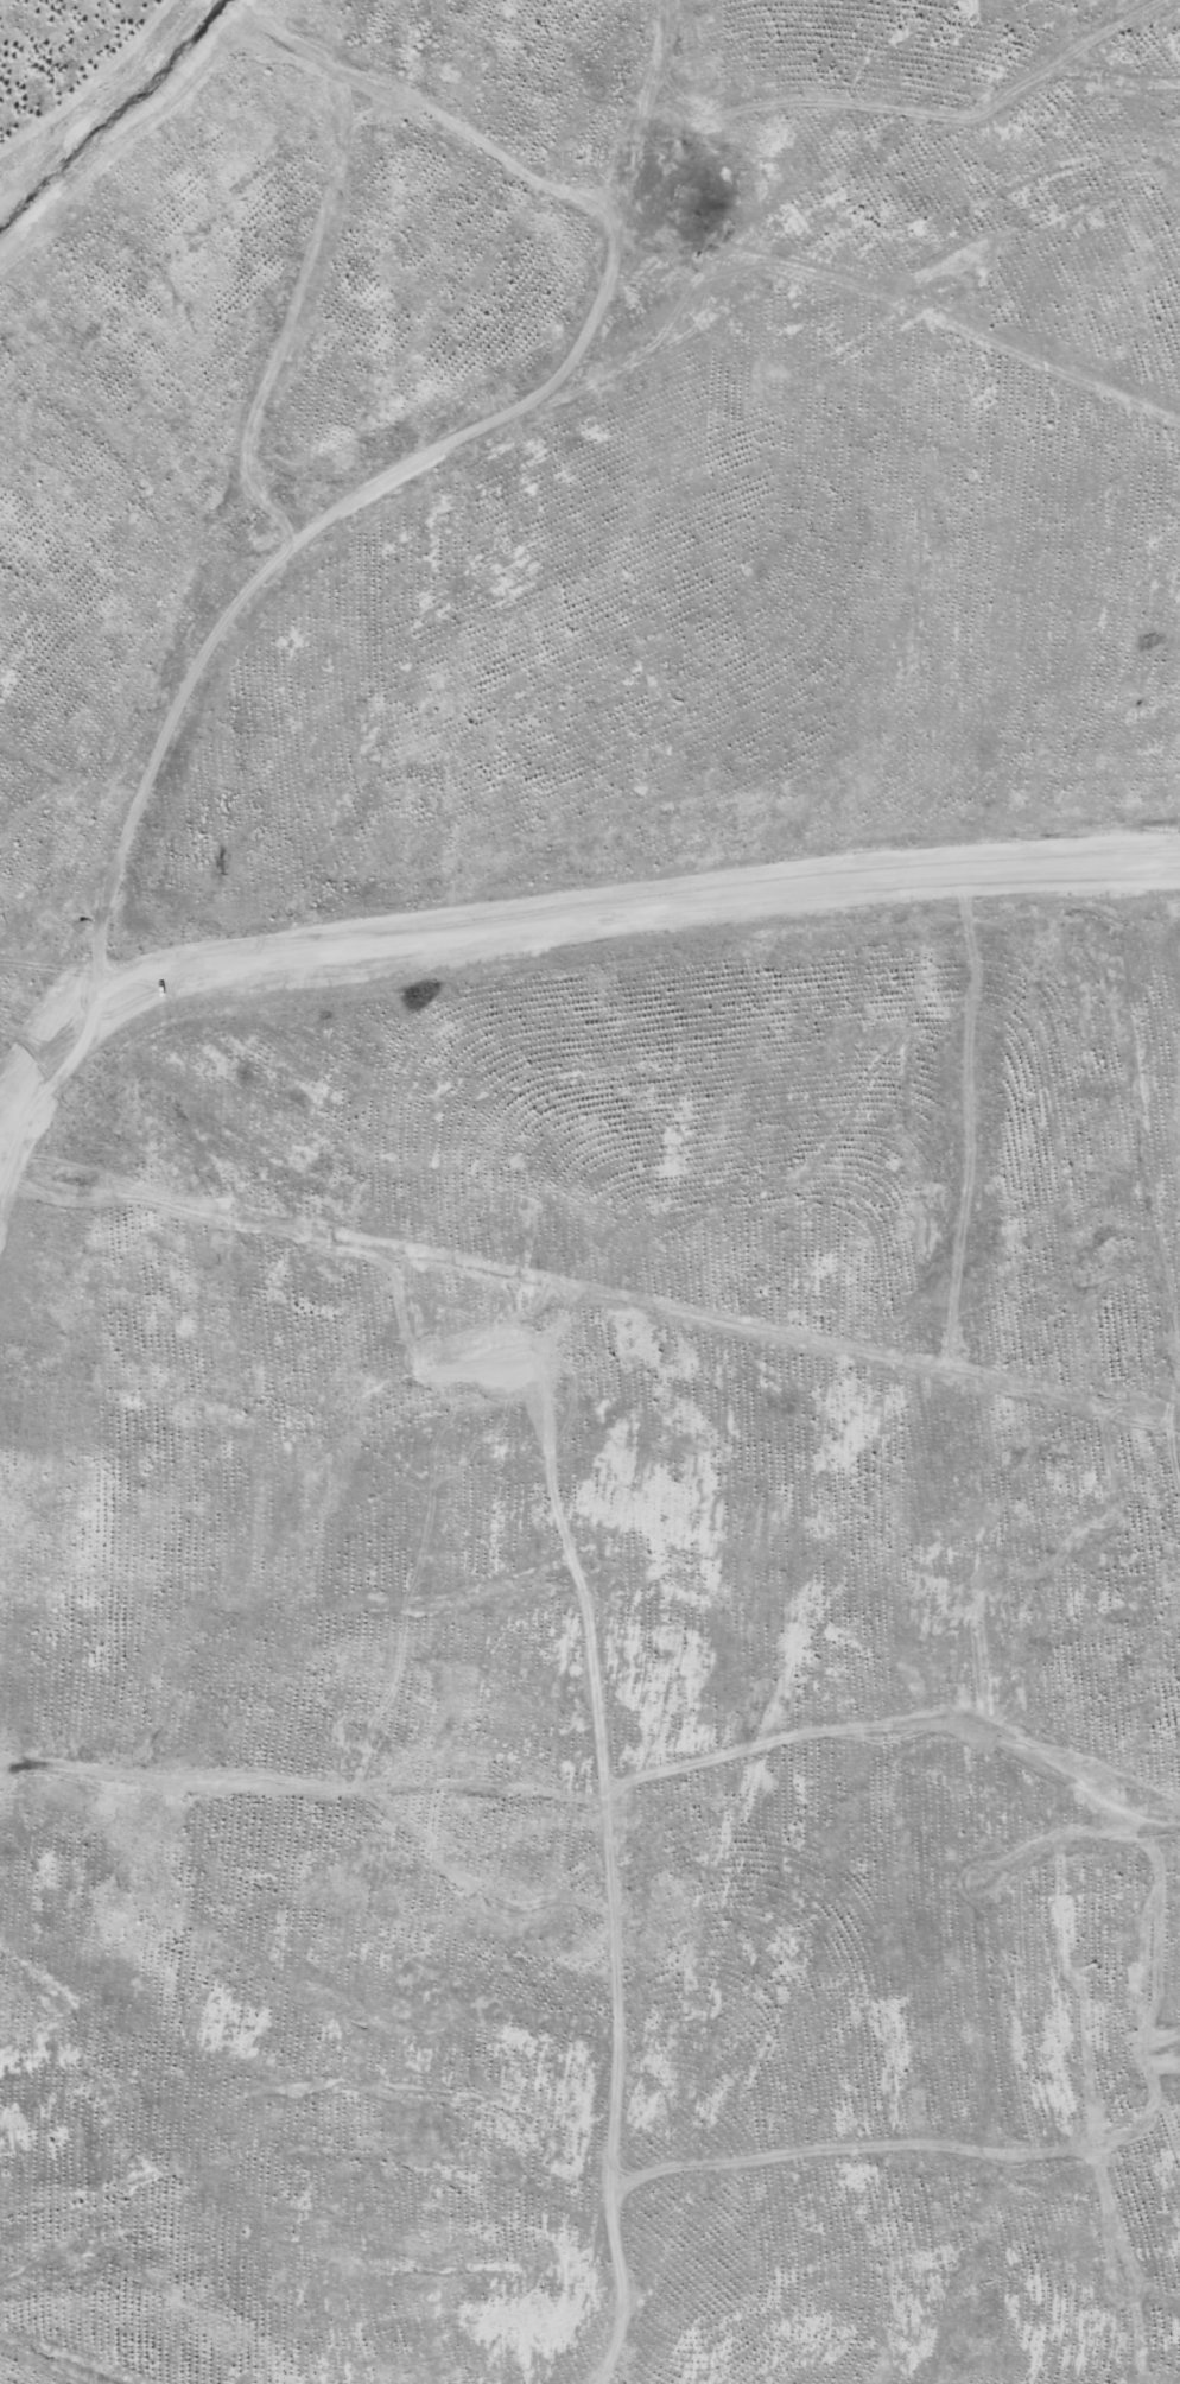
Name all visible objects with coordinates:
road: (142, 806)

